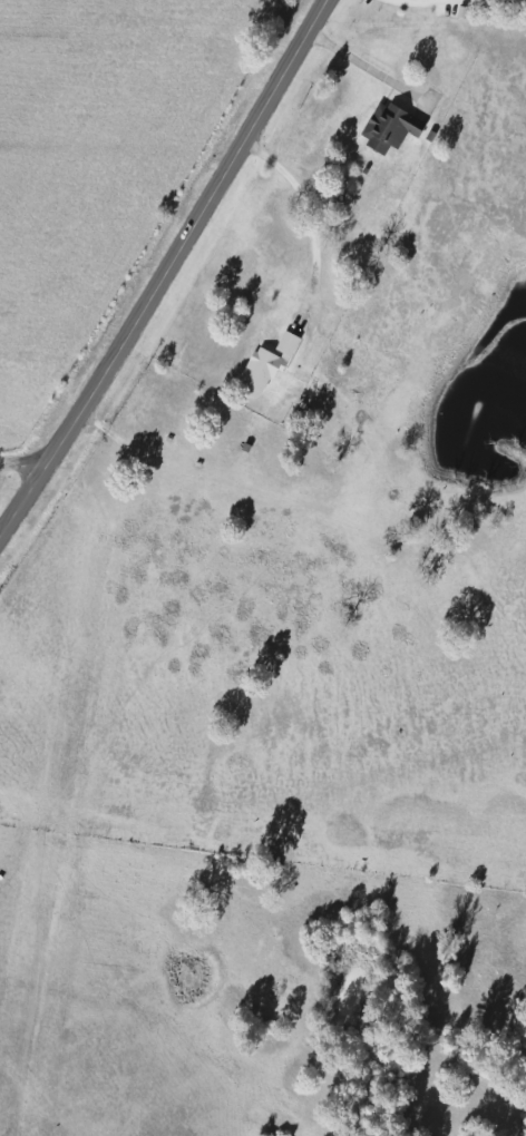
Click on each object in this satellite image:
building: (383, 128)
road: (165, 265)
building: (259, 369)
road: (18, 464)

